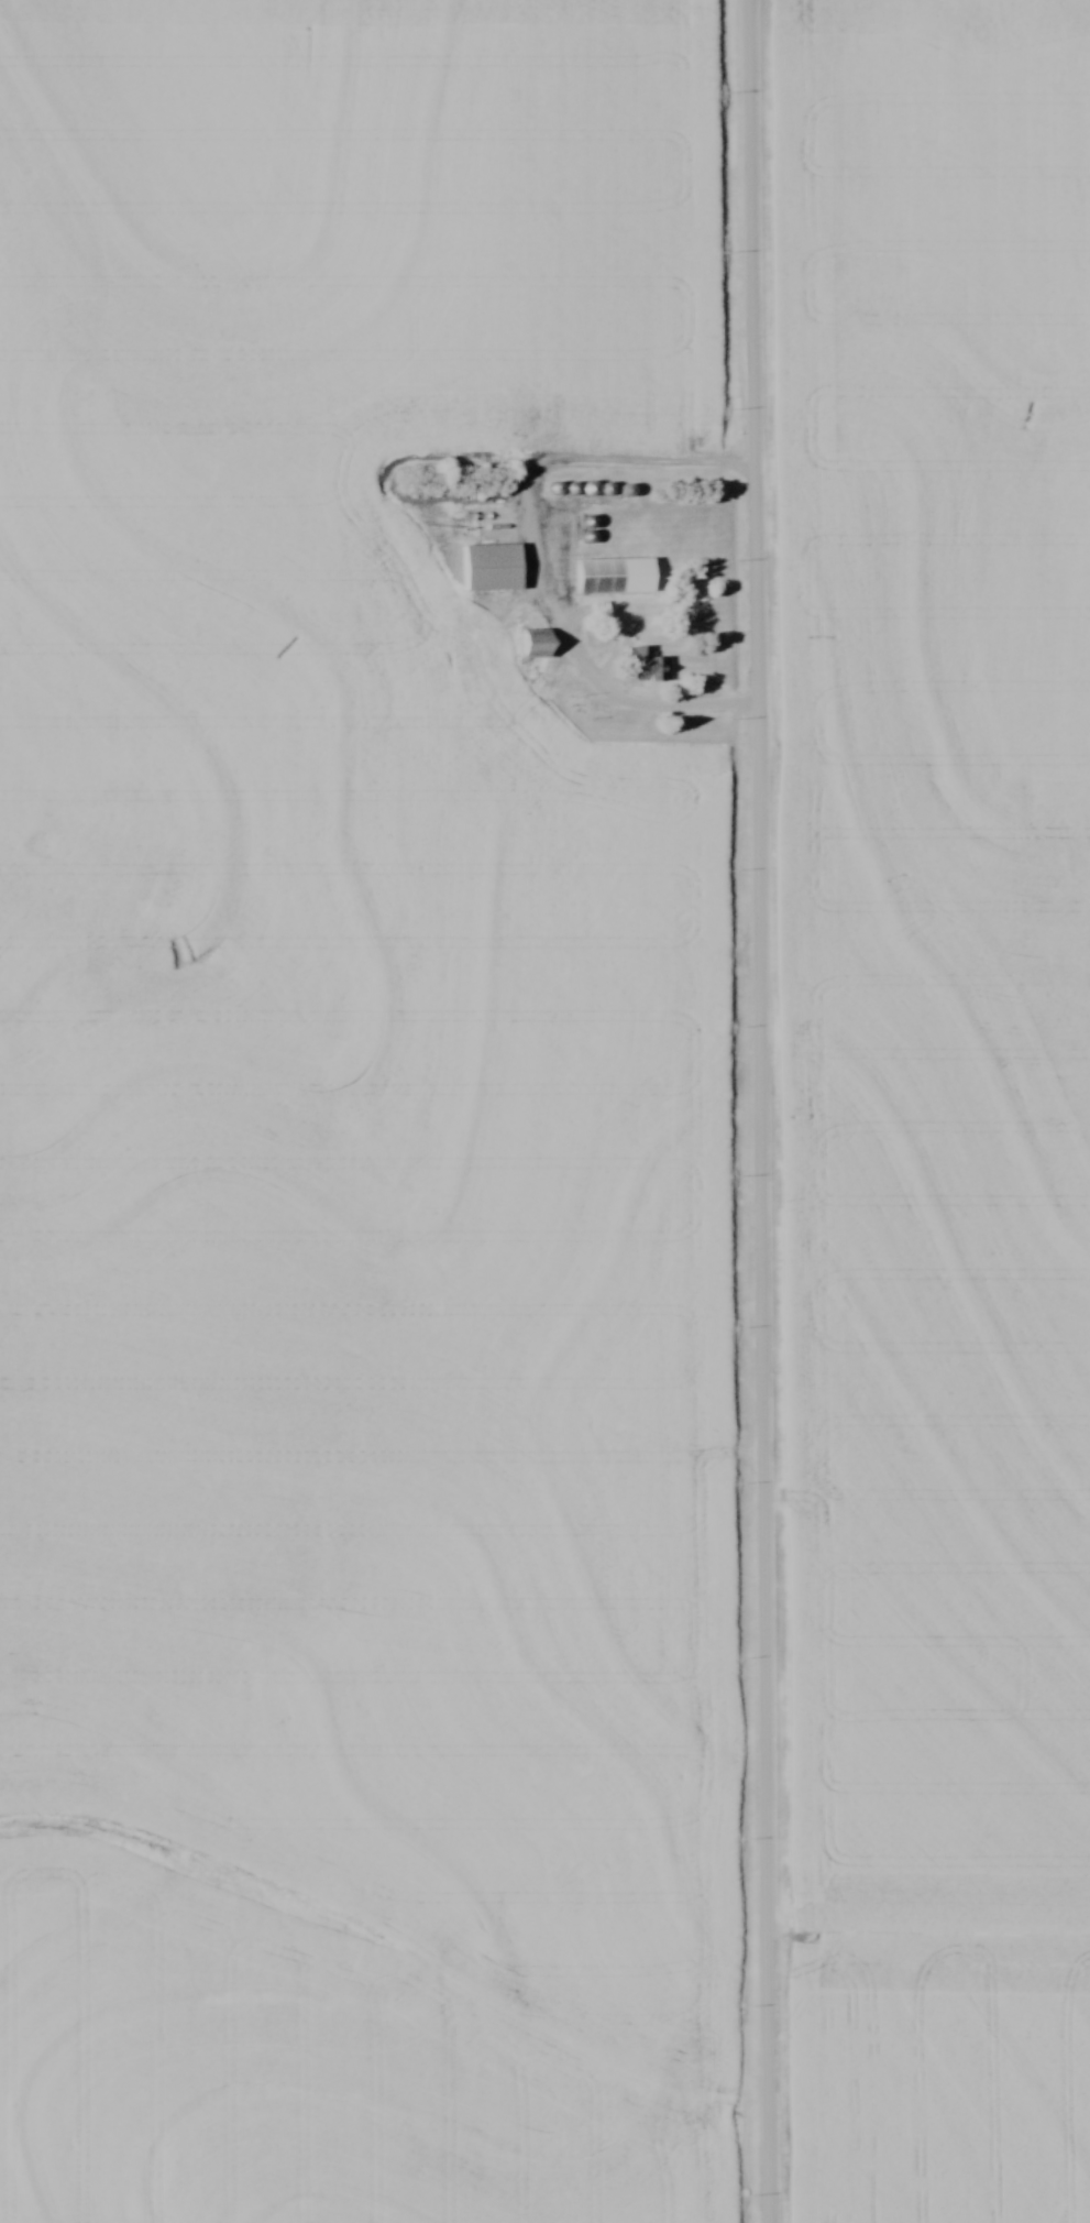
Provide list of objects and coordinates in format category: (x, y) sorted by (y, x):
building: (495, 566)
building: (618, 574)
building: (542, 643)
building: (649, 664)
road: (617, 698)
road: (763, 1110)

